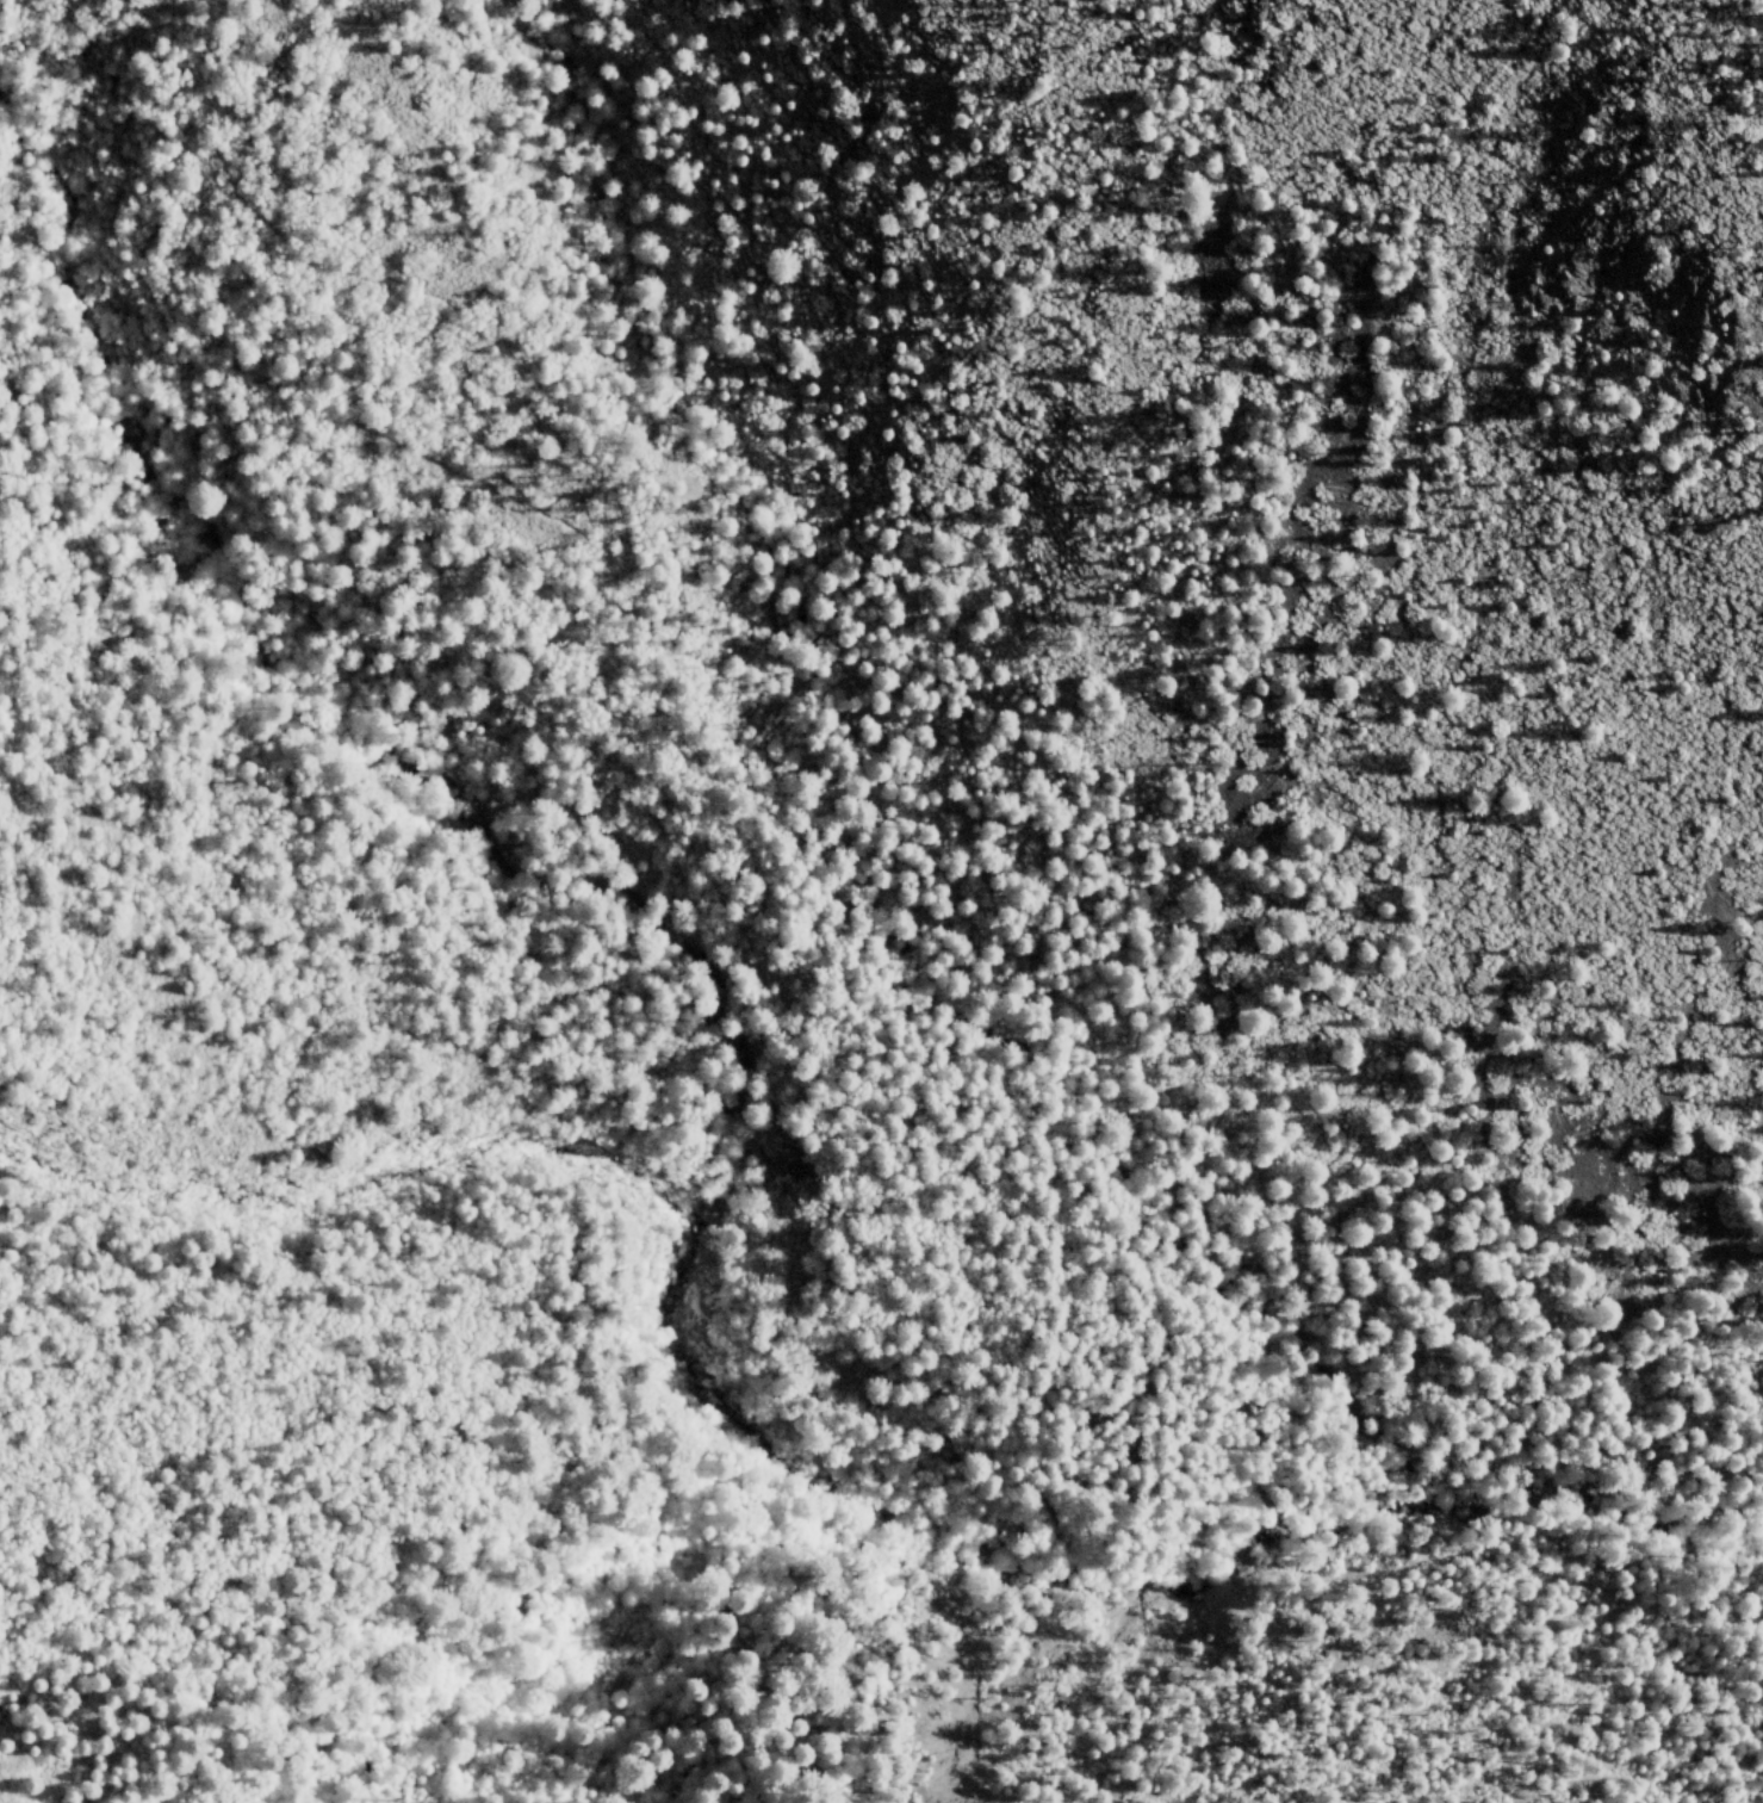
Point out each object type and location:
road: (744, 874)

